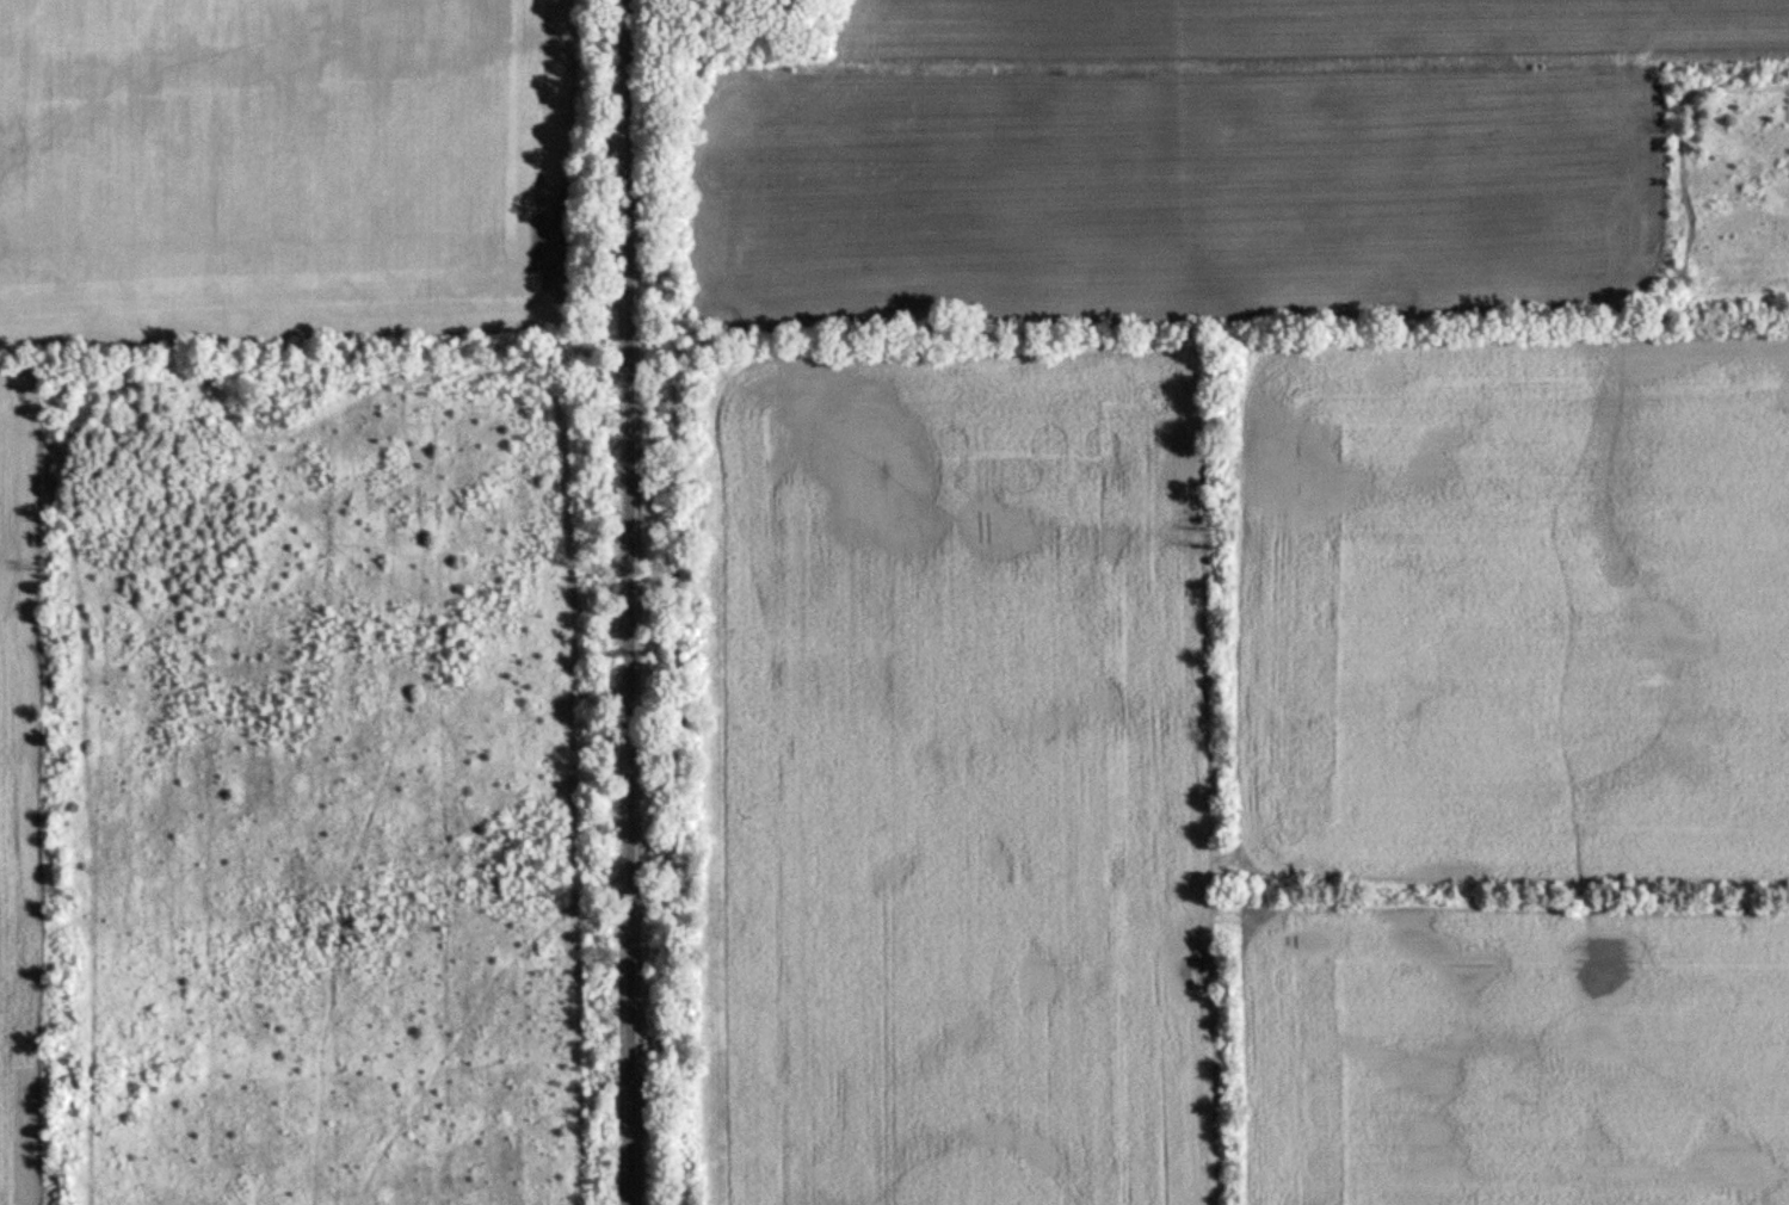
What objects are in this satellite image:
railway: (629, 602)

